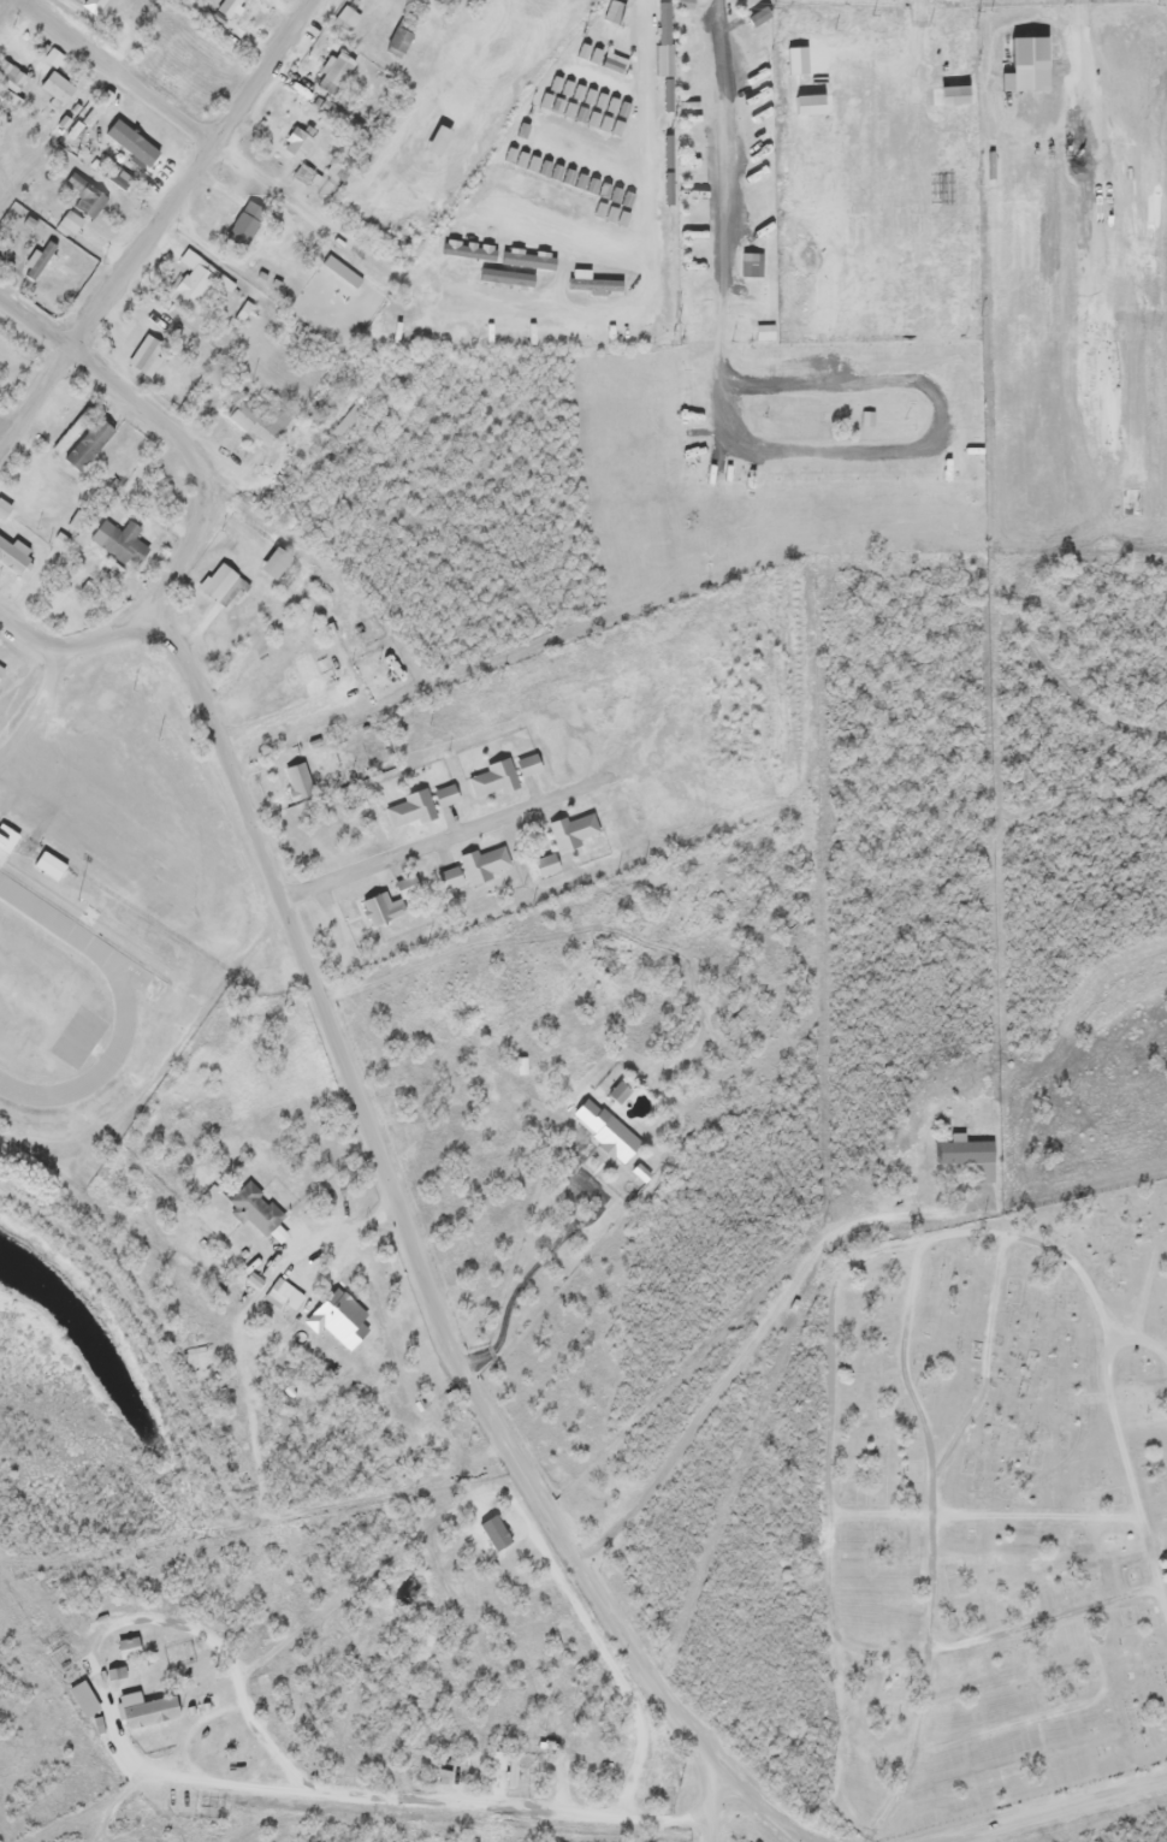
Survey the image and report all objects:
building: (101, 6)
building: (230, 6)
road: (6, 7)
building: (348, 16)
building: (403, 35)
building: (55, 55)
building: (796, 60)
building: (1030, 64)
building: (13, 71)
building: (339, 71)
building: (58, 87)
building: (956, 94)
building: (7, 96)
building: (97, 106)
building: (805, 106)
building: (346, 119)
road: (189, 126)
building: (439, 138)
road: (721, 140)
building: (132, 141)
building: (302, 142)
road: (647, 155)
building: (113, 174)
building: (85, 194)
building: (247, 221)
building: (69, 223)
road: (156, 229)
building: (469, 250)
building: (529, 259)
building: (41, 260)
building: (343, 270)
building: (508, 276)
building: (197, 280)
building: (597, 284)
building: (149, 354)
building: (218, 372)
building: (353, 417)
building: (262, 422)
building: (73, 428)
road: (168, 433)
building: (89, 443)
building: (6, 509)
building: (122, 541)
building: (14, 553)
building: (277, 563)
building: (217, 579)
building: (332, 638)
road: (77, 650)
building: (2, 671)
road: (35, 713)
building: (531, 764)
building: (493, 776)
building: (298, 780)
building: (448, 794)
building: (414, 809)
building: (575, 829)
road: (439, 835)
building: (10, 837)
building: (440, 860)
building: (486, 863)
building: (52, 864)
building: (547, 864)
building: (451, 877)
building: (408, 884)
building: (383, 908)
park: (30, 990)
track: (55, 1006)
stadium: (88, 1013)
building: (606, 1135)
building: (967, 1151)
building: (256, 1208)
road: (417, 1269)
building: (285, 1293)
building: (340, 1319)
road: (752, 1341)
park: (995, 1512)
building: (497, 1532)
building: (130, 1647)
building: (115, 1672)
building: (84, 1699)
building: (148, 1710)
building: (100, 1724)
building: (500, 1759)
building: (514, 1769)
building: (443, 1772)
road: (365, 1795)
road: (707, 1799)
road: (1052, 1808)

